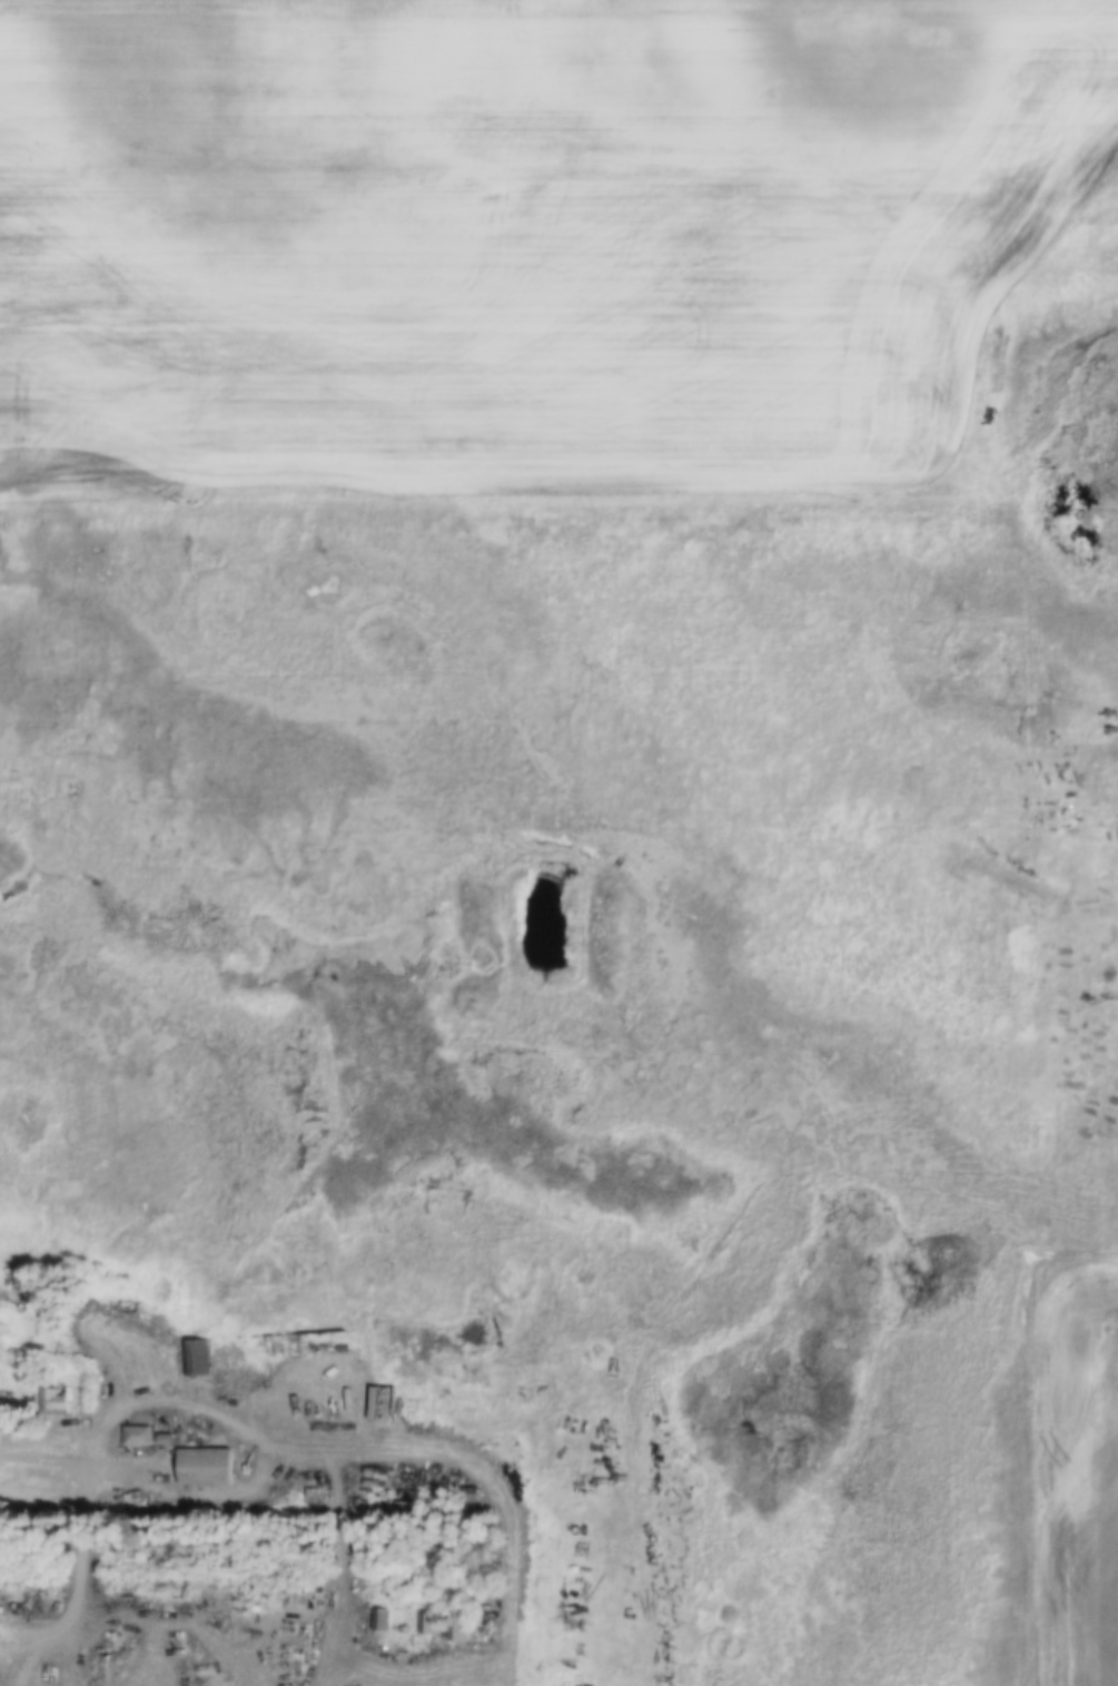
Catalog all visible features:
building: (195, 1360)
road: (146, 1401)
building: (57, 1403)
building: (382, 1404)
building: (136, 1437)
road: (87, 1463)
road: (1022, 1465)
building: (206, 1469)
road: (497, 1487)
building: (378, 1620)
building: (424, 1624)
building: (456, 1626)

